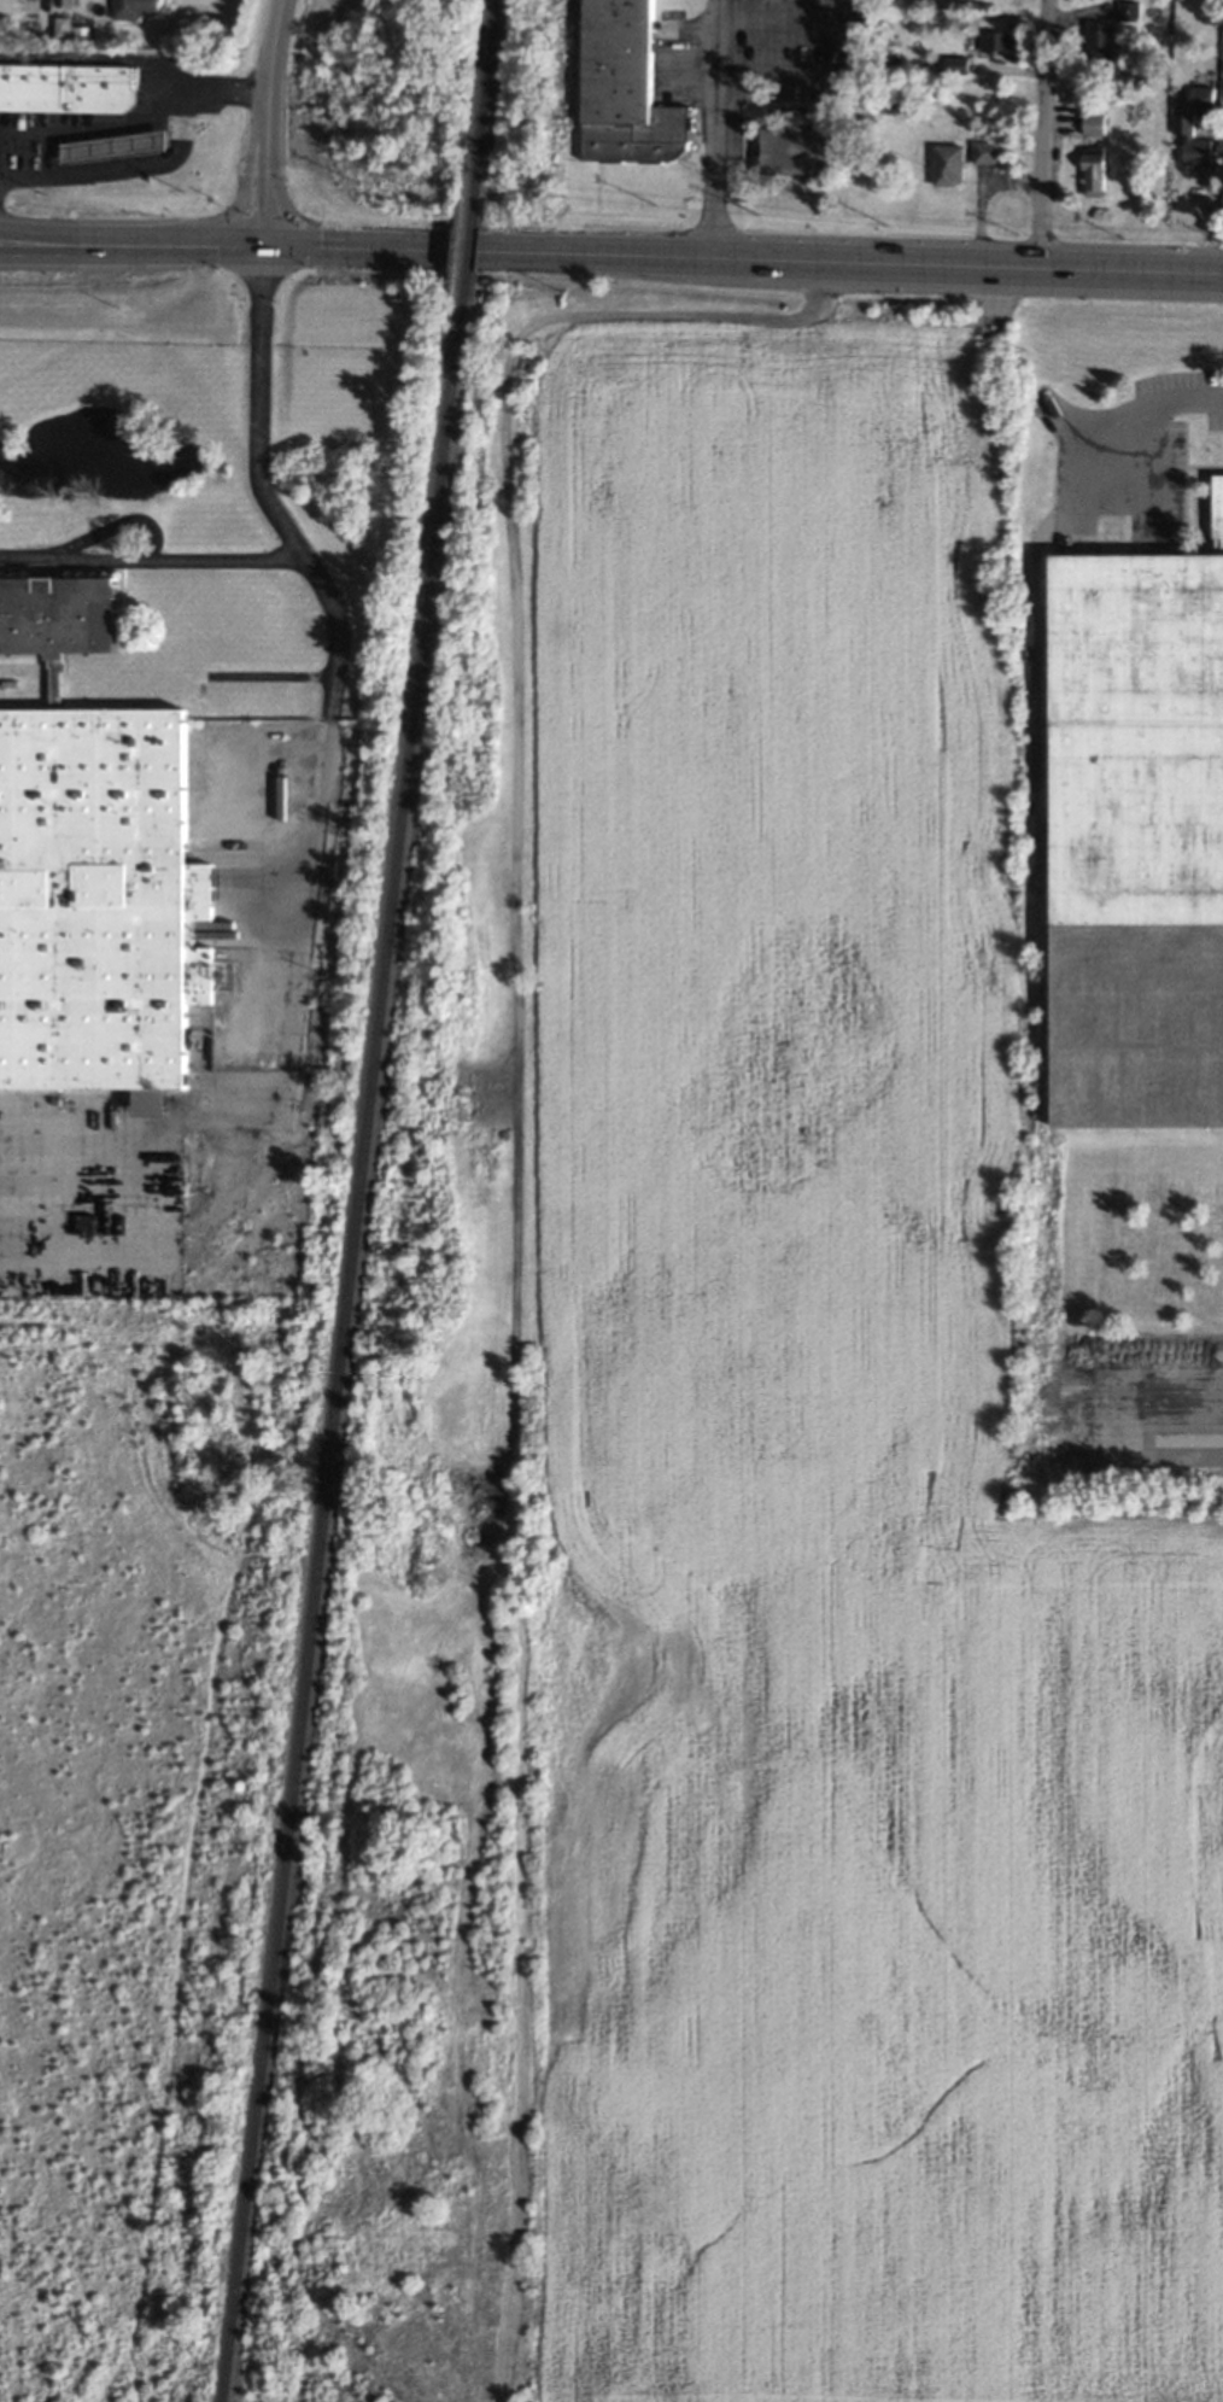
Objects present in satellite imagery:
building: (133, 8)
building: (1127, 11)
building: (62, 27)
building: (997, 41)
building: (1100, 41)
road: (277, 45)
road: (98, 59)
building: (622, 87)
building: (65, 88)
road: (191, 90)
building: (1201, 97)
railway: (484, 104)
building: (1093, 124)
road: (98, 129)
road: (706, 129)
road: (1047, 134)
parking lot: (63, 135)
building: (1190, 142)
building: (113, 147)
gas station: (113, 147)
building: (792, 151)
building: (984, 152)
building: (947, 164)
road: (267, 169)
road: (84, 170)
building: (1093, 173)
road: (246, 193)
road: (1211, 209)
road: (66, 238)
road: (148, 246)
road: (213, 246)
road: (66, 249)
railway: (467, 251)
road: (744, 258)
road: (1057, 413)
road: (152, 560)
road: (343, 644)
road: (519, 673)
building: (1130, 767)
building: (95, 901)
railway: (341, 1348)
road: (1195, 1395)
crop: (747, 1473)

